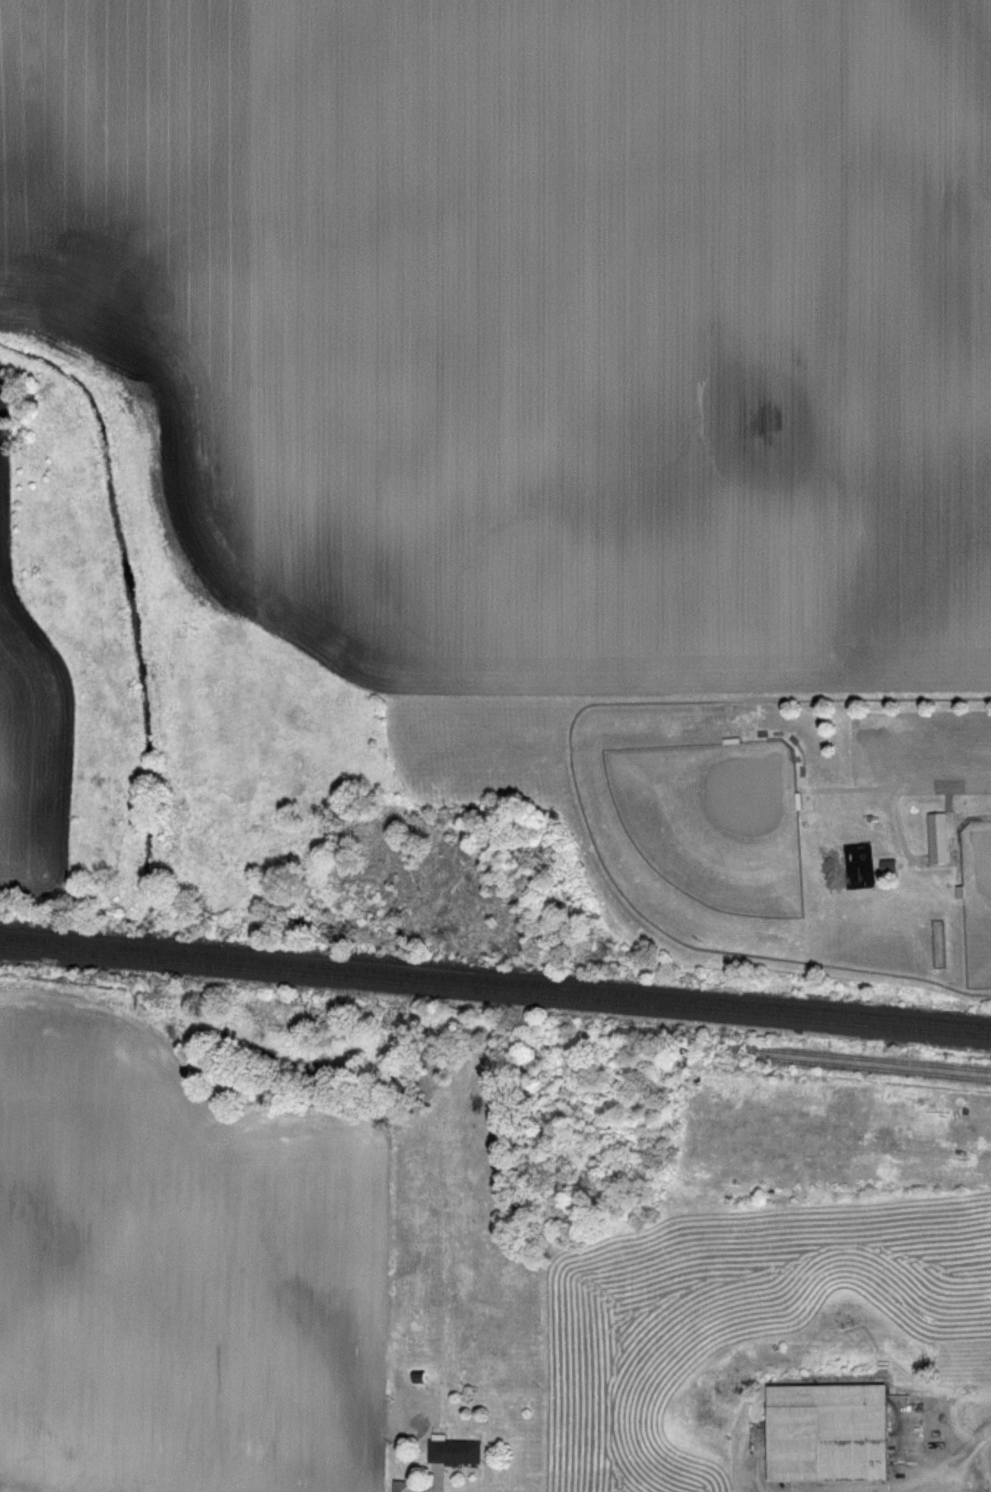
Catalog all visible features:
road: (875, 752)
parking lot: (919, 752)
road: (577, 794)
park: (712, 819)
park: (788, 827)
building: (936, 837)
building: (887, 866)
park: (977, 901)
railway: (495, 978)
railway: (495, 988)
railway: (866, 1054)
railway: (861, 1066)
road: (978, 1419)
building: (824, 1432)
building: (452, 1451)
road: (429, 1478)
building: (400, 1486)

